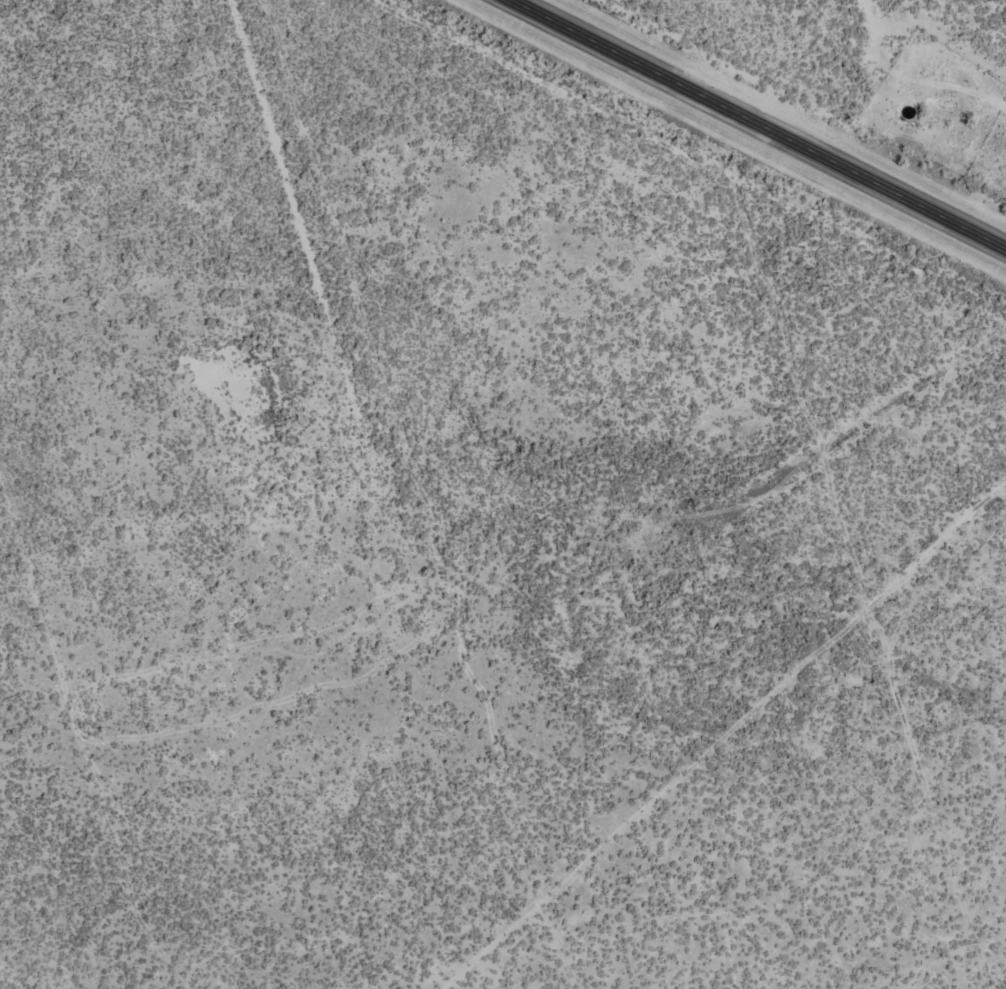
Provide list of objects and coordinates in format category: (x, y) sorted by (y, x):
road: (1001, 4)
road: (750, 123)
road: (340, 260)

